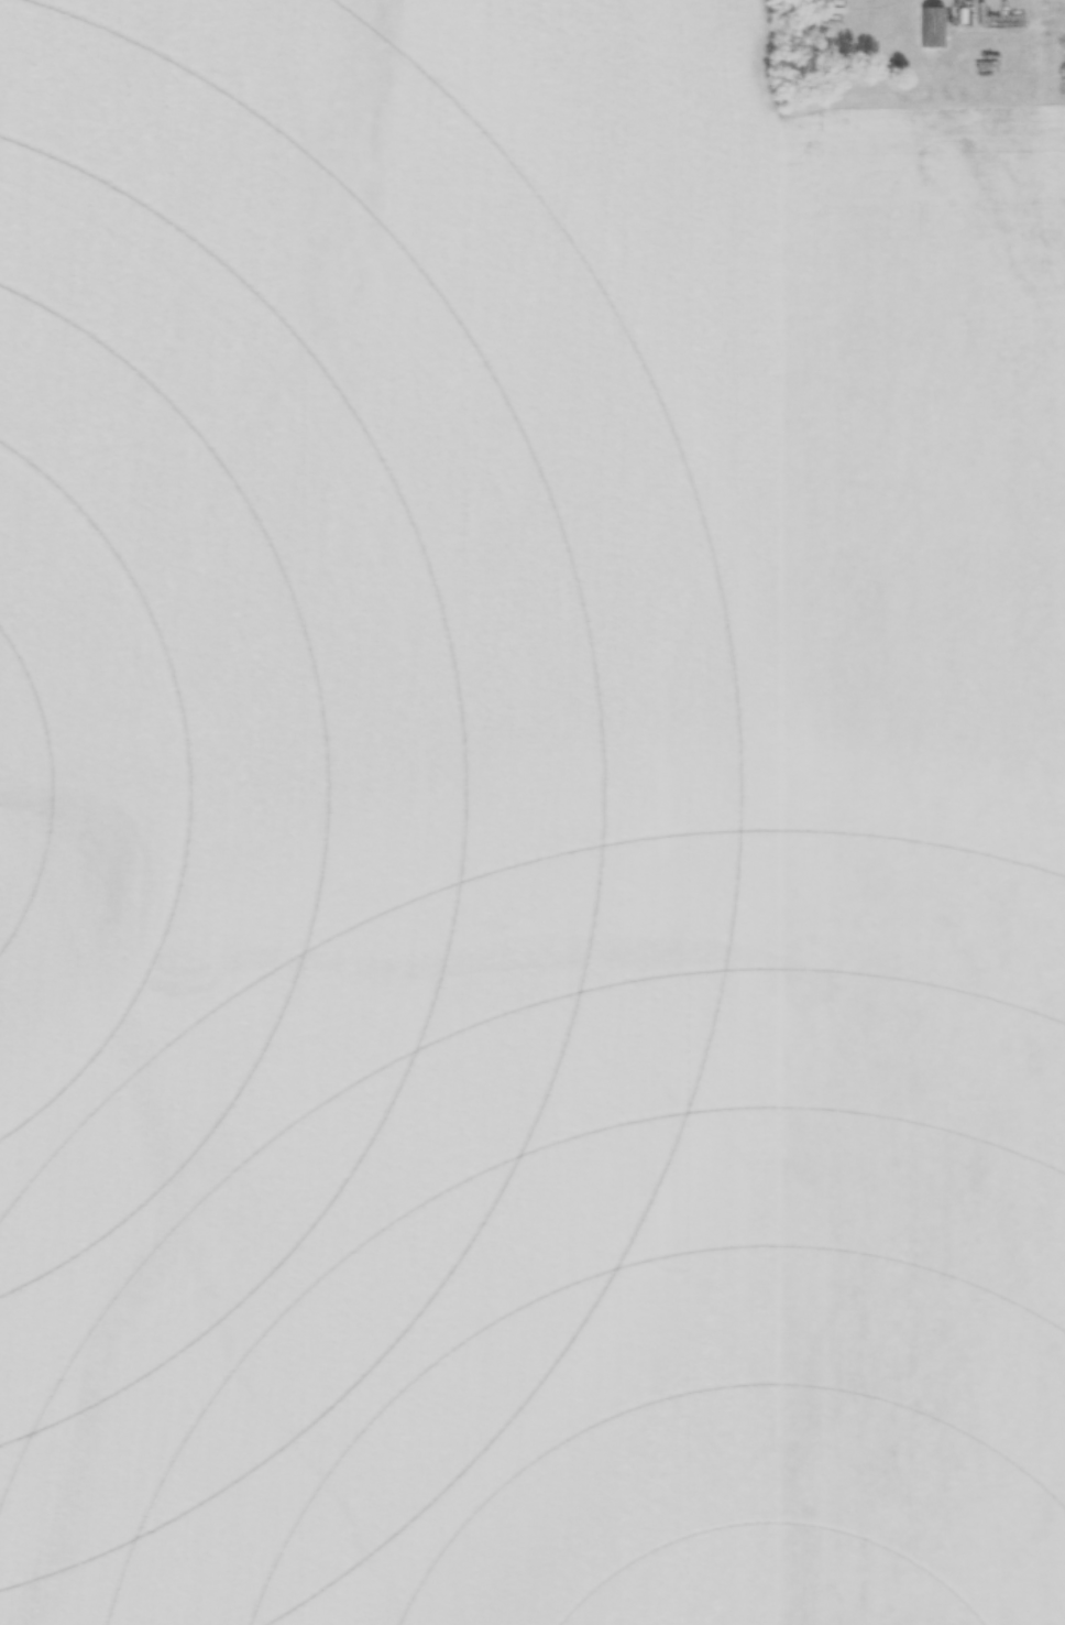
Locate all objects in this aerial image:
building: (942, 20)

